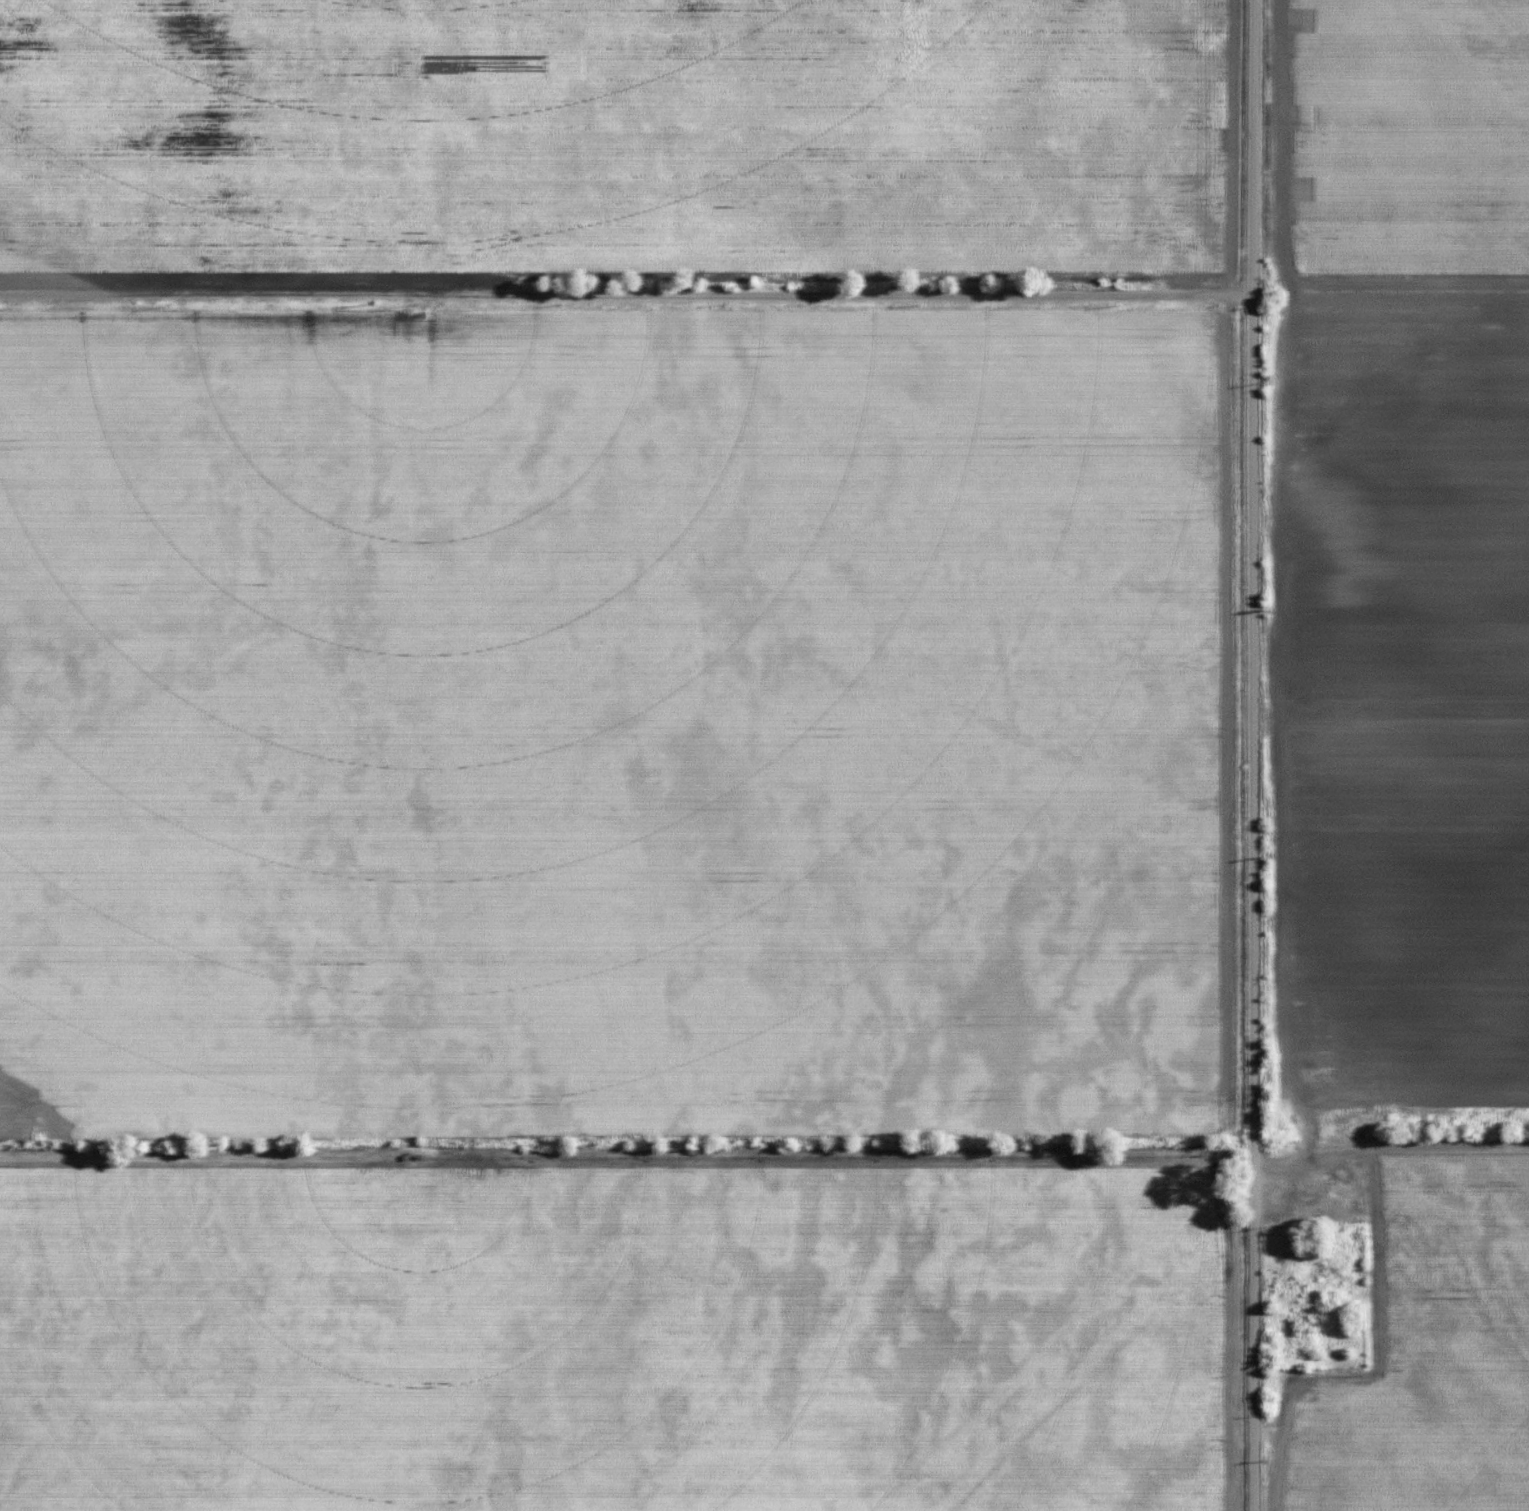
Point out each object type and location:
road: (627, 292)
road: (1255, 755)
road: (1392, 1147)

